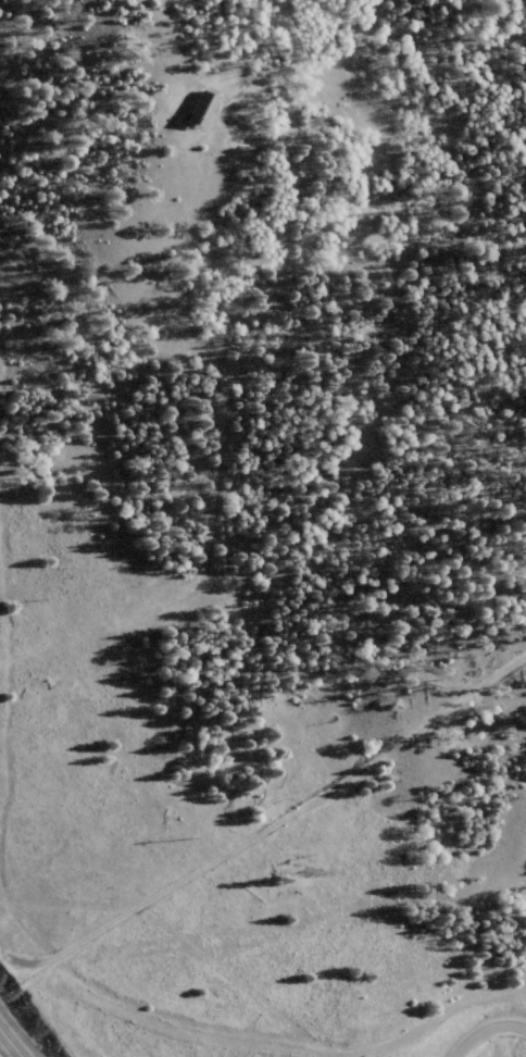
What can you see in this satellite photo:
road: (41, 879)
road: (310, 988)
road: (11, 1044)

